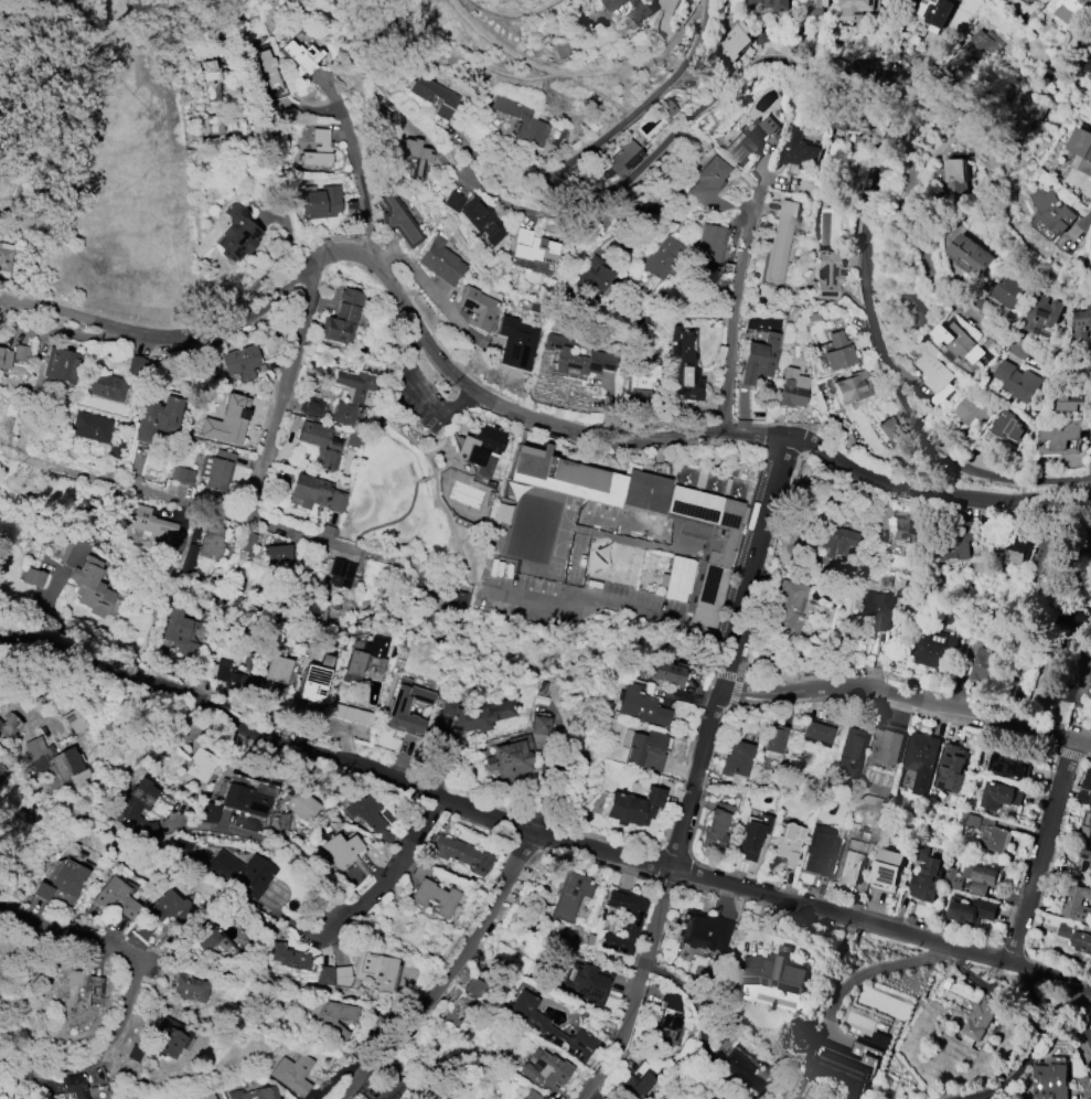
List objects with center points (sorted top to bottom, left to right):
building: (1036, 0)
building: (1065, 3)
building: (614, 4)
building: (773, 4)
building: (820, 7)
building: (858, 8)
building: (933, 8)
building: (640, 12)
road: (514, 15)
road: (684, 26)
building: (734, 43)
building: (972, 55)
building: (301, 57)
building: (1088, 65)
road: (547, 67)
road: (843, 70)
building: (267, 71)
building: (210, 81)
building: (432, 95)
building: (666, 107)
building: (1033, 111)
building: (379, 116)
building: (523, 121)
building: (208, 125)
building: (229, 125)
building: (860, 136)
building: (746, 138)
building: (799, 146)
building: (318, 150)
building: (1080, 150)
building: (414, 156)
building: (622, 156)
road: (356, 164)
building: (708, 181)
building: (956, 181)
building: (452, 201)
building: (320, 202)
building: (1053, 211)
road: (1089, 215)
building: (398, 217)
building: (482, 220)
building: (237, 233)
building: (781, 238)
building: (532, 246)
building: (708, 247)
building: (970, 256)
building: (4, 257)
building: (663, 257)
building: (440, 260)
road: (930, 269)
building: (596, 271)
building: (827, 273)
road: (740, 285)
road: (429, 288)
building: (1007, 291)
building: (475, 307)
building: (918, 308)
building: (1040, 317)
building: (341, 318)
building: (1082, 326)
building: (514, 343)
building: (959, 344)
building: (20, 352)
building: (838, 352)
building: (4, 358)
building: (576, 358)
building: (758, 360)
building: (984, 360)
building: (240, 362)
building: (61, 365)
building: (684, 366)
building: (934, 375)
building: (643, 378)
building: (1017, 381)
building: (104, 385)
road: (286, 387)
building: (849, 387)
building: (792, 388)
building: (352, 394)
road: (420, 395)
building: (310, 405)
road: (502, 407)
building: (972, 409)
building: (157, 416)
building: (1008, 425)
building: (90, 427)
building: (1060, 436)
building: (351, 440)
building: (320, 442)
building: (480, 452)
building: (215, 469)
building: (182, 474)
building: (565, 477)
building: (310, 491)
building: (642, 491)
building: (335, 501)
building: (148, 524)
road: (277, 527)
building: (905, 530)
building: (834, 538)
building: (211, 540)
building: (247, 542)
building: (707, 543)
building: (955, 543)
building: (1016, 546)
building: (277, 553)
building: (1049, 557)
building: (189, 558)
building: (601, 564)
building: (341, 574)
building: (33, 577)
building: (86, 578)
building: (676, 578)
building: (454, 602)
building: (790, 605)
building: (875, 607)
road: (608, 616)
building: (1076, 616)
building: (180, 633)
building: (933, 649)
road: (730, 654)
building: (362, 658)
building: (984, 665)
building: (278, 669)
building: (667, 673)
building: (236, 677)
building: (314, 680)
building: (1040, 686)
building: (1083, 686)
road: (908, 696)
building: (642, 706)
building: (395, 709)
building: (74, 719)
building: (464, 721)
building: (9, 725)
building: (538, 725)
building: (815, 734)
building: (773, 740)
building: (887, 745)
building: (645, 750)
building: (849, 754)
building: (511, 759)
building: (736, 759)
building: (920, 760)
building: (55, 764)
building: (201, 765)
building: (1008, 765)
building: (951, 769)
building: (1085, 789)
building: (999, 796)
building: (246, 798)
building: (297, 802)
building: (138, 807)
building: (633, 807)
building: (364, 811)
building: (32, 812)
building: (207, 812)
building: (1087, 824)
building: (715, 828)
building: (985, 830)
road: (538, 833)
building: (752, 833)
road: (281, 841)
building: (787, 843)
building: (181, 846)
building: (338, 851)
building: (820, 851)
road: (1042, 852)
building: (462, 854)
building: (854, 855)
building: (1083, 866)
building: (887, 869)
road: (389, 871)
building: (243, 872)
building: (926, 875)
building: (981, 876)
building: (67, 878)
building: (951, 878)
building: (42, 890)
building: (431, 893)
building: (570, 895)
building: (116, 903)
building: (1077, 904)
building: (169, 909)
building: (969, 911)
building: (624, 920)
building: (705, 931)
building: (576, 932)
building: (204, 936)
building: (1074, 937)
building: (289, 958)
building: (777, 969)
building: (376, 972)
road: (449, 972)
road: (865, 973)
building: (324, 975)
building: (343, 975)
building: (76, 982)
building: (586, 982)
road: (277, 985)
road: (638, 985)
building: (474, 988)
building: (191, 989)
road: (130, 991)
road: (692, 994)
road: (819, 1009)
building: (334, 1018)
building: (667, 1020)
road: (1036, 1021)
building: (978, 1022)
road: (1084, 1022)
building: (546, 1026)
building: (168, 1043)
building: (133, 1053)
building: (735, 1068)
building: (546, 1070)
building: (292, 1073)
building: (836, 1076)
road: (606, 1079)
building: (1049, 1081)
building: (74, 1086)
building: (638, 1086)
building: (391, 1090)
building: (254, 1093)
building: (532, 1095)
building: (208, 1097)
building: (723, 1098)
building: (725, 1098)

